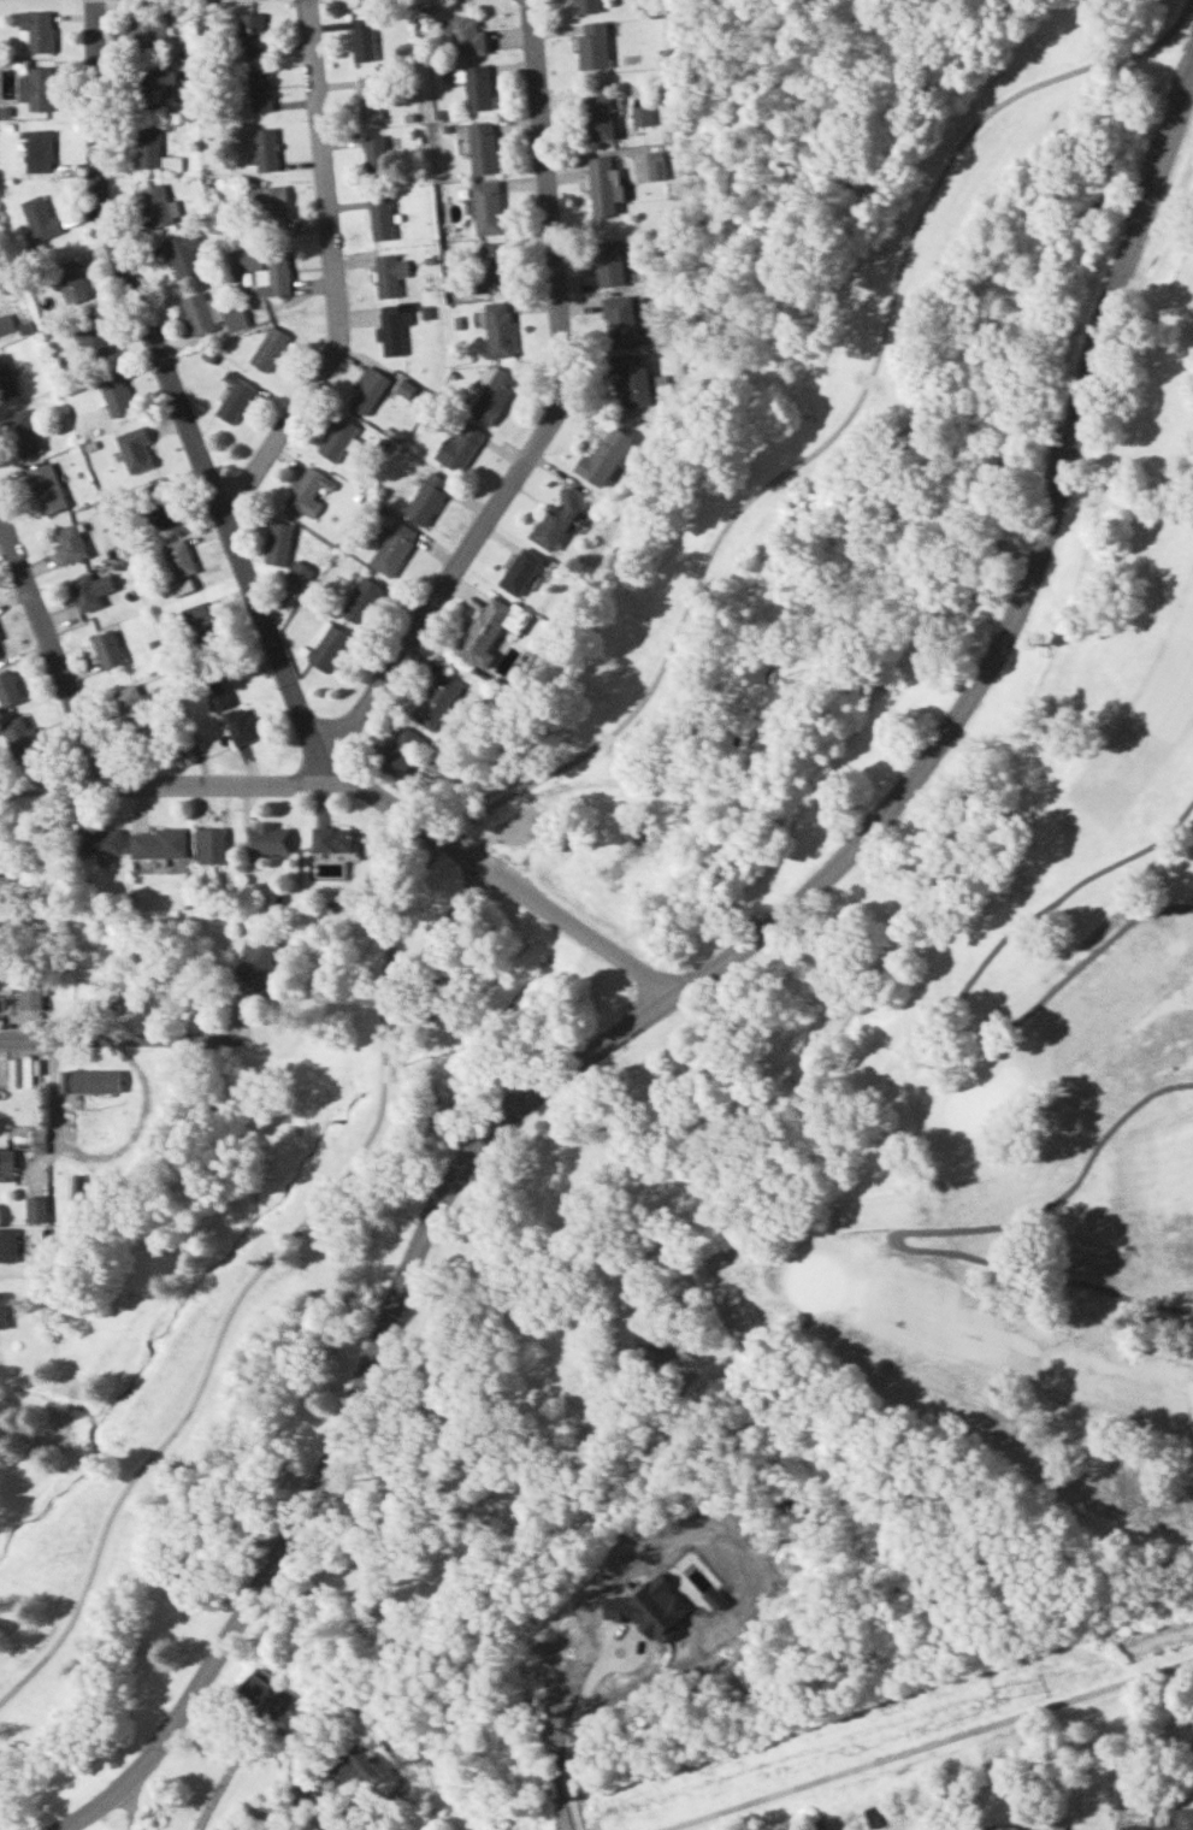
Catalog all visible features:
building: (585, 6)
building: (149, 29)
building: (253, 34)
building: (467, 35)
building: (364, 39)
building: (593, 46)
building: (476, 87)
building: (37, 88)
building: (158, 89)
building: (261, 89)
building: (370, 98)
building: (644, 114)
building: (600, 118)
building: (148, 148)
building: (483, 148)
building: (267, 149)
building: (39, 150)
building: (376, 157)
building: (172, 164)
building: (658, 166)
building: (604, 188)
building: (158, 206)
building: (271, 207)
building: (486, 207)
building: (40, 217)
building: (380, 218)
building: (183, 254)
building: (247, 259)
building: (613, 264)
building: (491, 268)
building: (279, 273)
building: (390, 273)
road: (337, 274)
building: (71, 282)
building: (199, 313)
building: (235, 317)
building: (620, 321)
building: (5, 323)
building: (498, 329)
building: (392, 333)
building: (93, 335)
building: (270, 348)
building: (6, 379)
building: (631, 379)
building: (367, 390)
building: (491, 392)
building: (117, 394)
road: (181, 397)
building: (236, 399)
road: (554, 407)
building: (22, 432)
building: (338, 438)
building: (460, 448)
building: (131, 450)
building: (604, 456)
building: (47, 489)
building: (309, 491)
building: (427, 498)
building: (159, 504)
building: (556, 518)
building: (278, 543)
building: (70, 544)
building: (394, 548)
building: (179, 557)
building: (521, 571)
building: (300, 572)
building: (89, 590)
building: (361, 600)
building: (200, 621)
building: (490, 628)
building: (329, 648)
road: (59, 649)
building: (107, 649)
building: (0, 654)
building: (10, 687)
building: (215, 692)
building: (437, 701)
building: (131, 707)
building: (22, 733)
building: (403, 751)
road: (166, 780)
road: (520, 786)
building: (268, 838)
building: (331, 839)
building: (100, 840)
building: (158, 843)
building: (208, 845)
road: (506, 881)
park: (615, 927)
road: (441, 933)
building: (259, 961)
road: (686, 986)
building: (31, 996)
road: (429, 1019)
road: (134, 1037)
road: (432, 1049)
road: (913, 1050)
building: (20, 1072)
building: (90, 1081)
park: (973, 1103)
road: (450, 1117)
road: (101, 1152)
building: (6, 1161)
building: (35, 1210)
road: (917, 1230)
building: (7, 1246)
park: (923, 1277)
park: (816, 1279)
building: (267, 1690)
power tower: (998, 1694)
road: (567, 1737)
road: (922, 1743)
building: (359, 1767)
building: (872, 1817)
building: (938, 1819)
building: (1180, 1819)
building: (1133, 1826)

